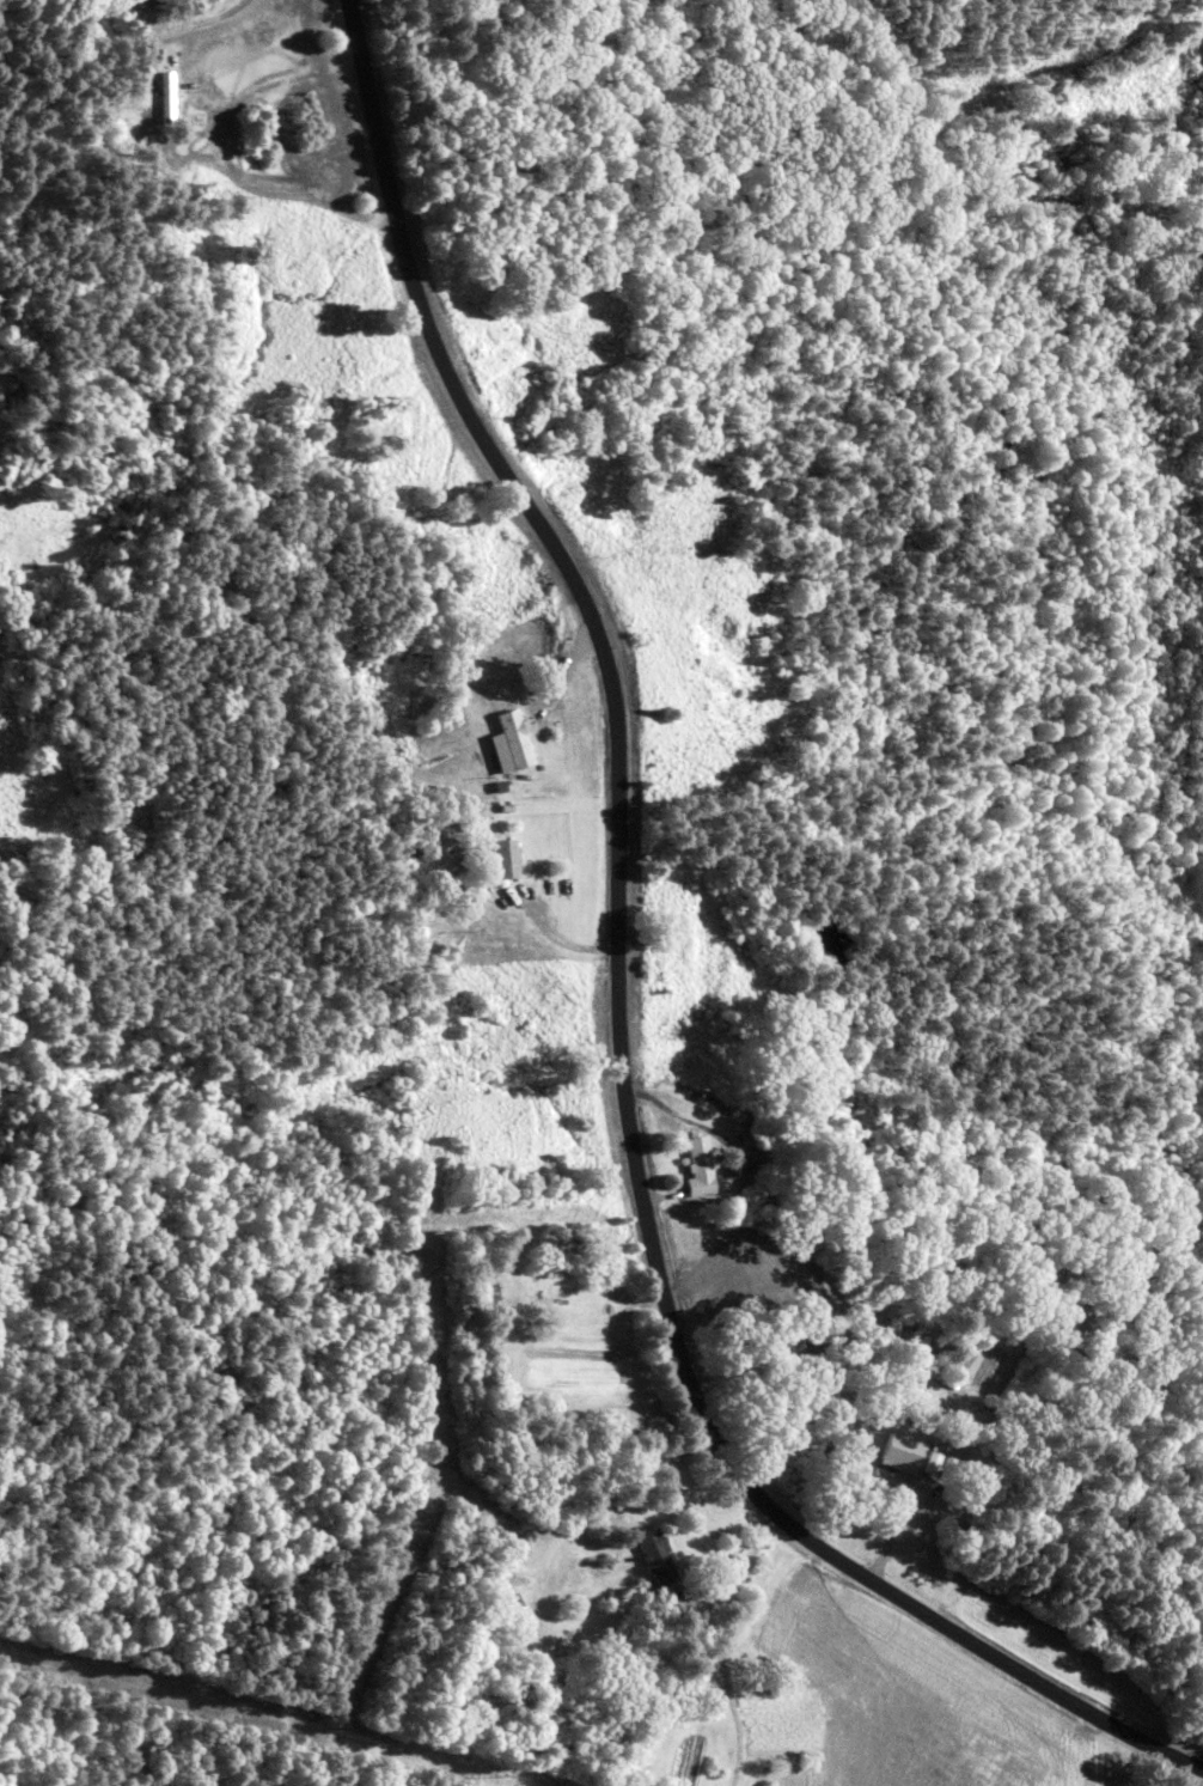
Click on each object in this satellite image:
road: (202, 24)
building: (161, 99)
road: (558, 675)
building: (513, 738)
building: (501, 859)
road: (551, 935)
road: (613, 995)
building: (690, 1166)
building: (890, 1455)
building: (651, 1558)
building: (509, 1603)
road: (717, 1641)
road: (1196, 1778)

